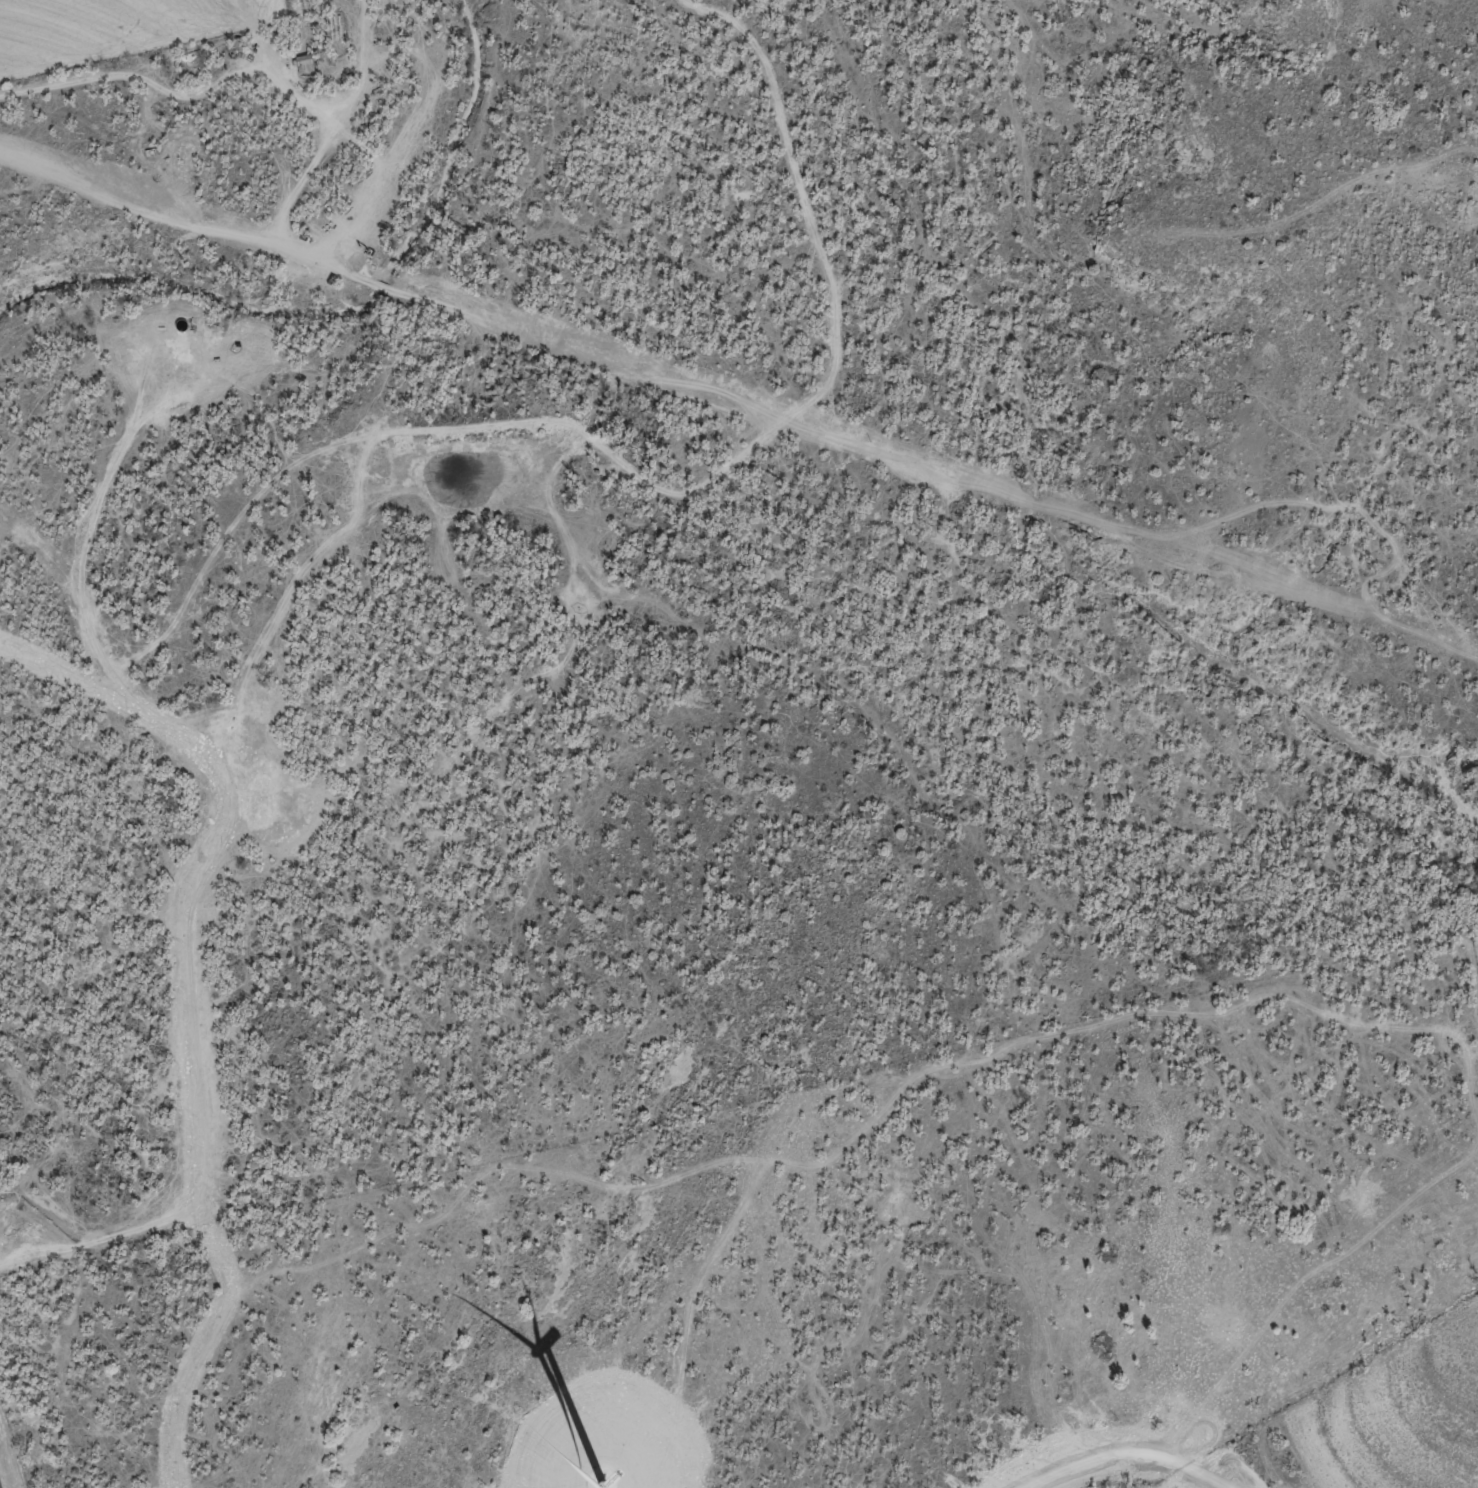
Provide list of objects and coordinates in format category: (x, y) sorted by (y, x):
road: (141, 77)
road: (1137, 1452)
wind turbine: (599, 1485)

